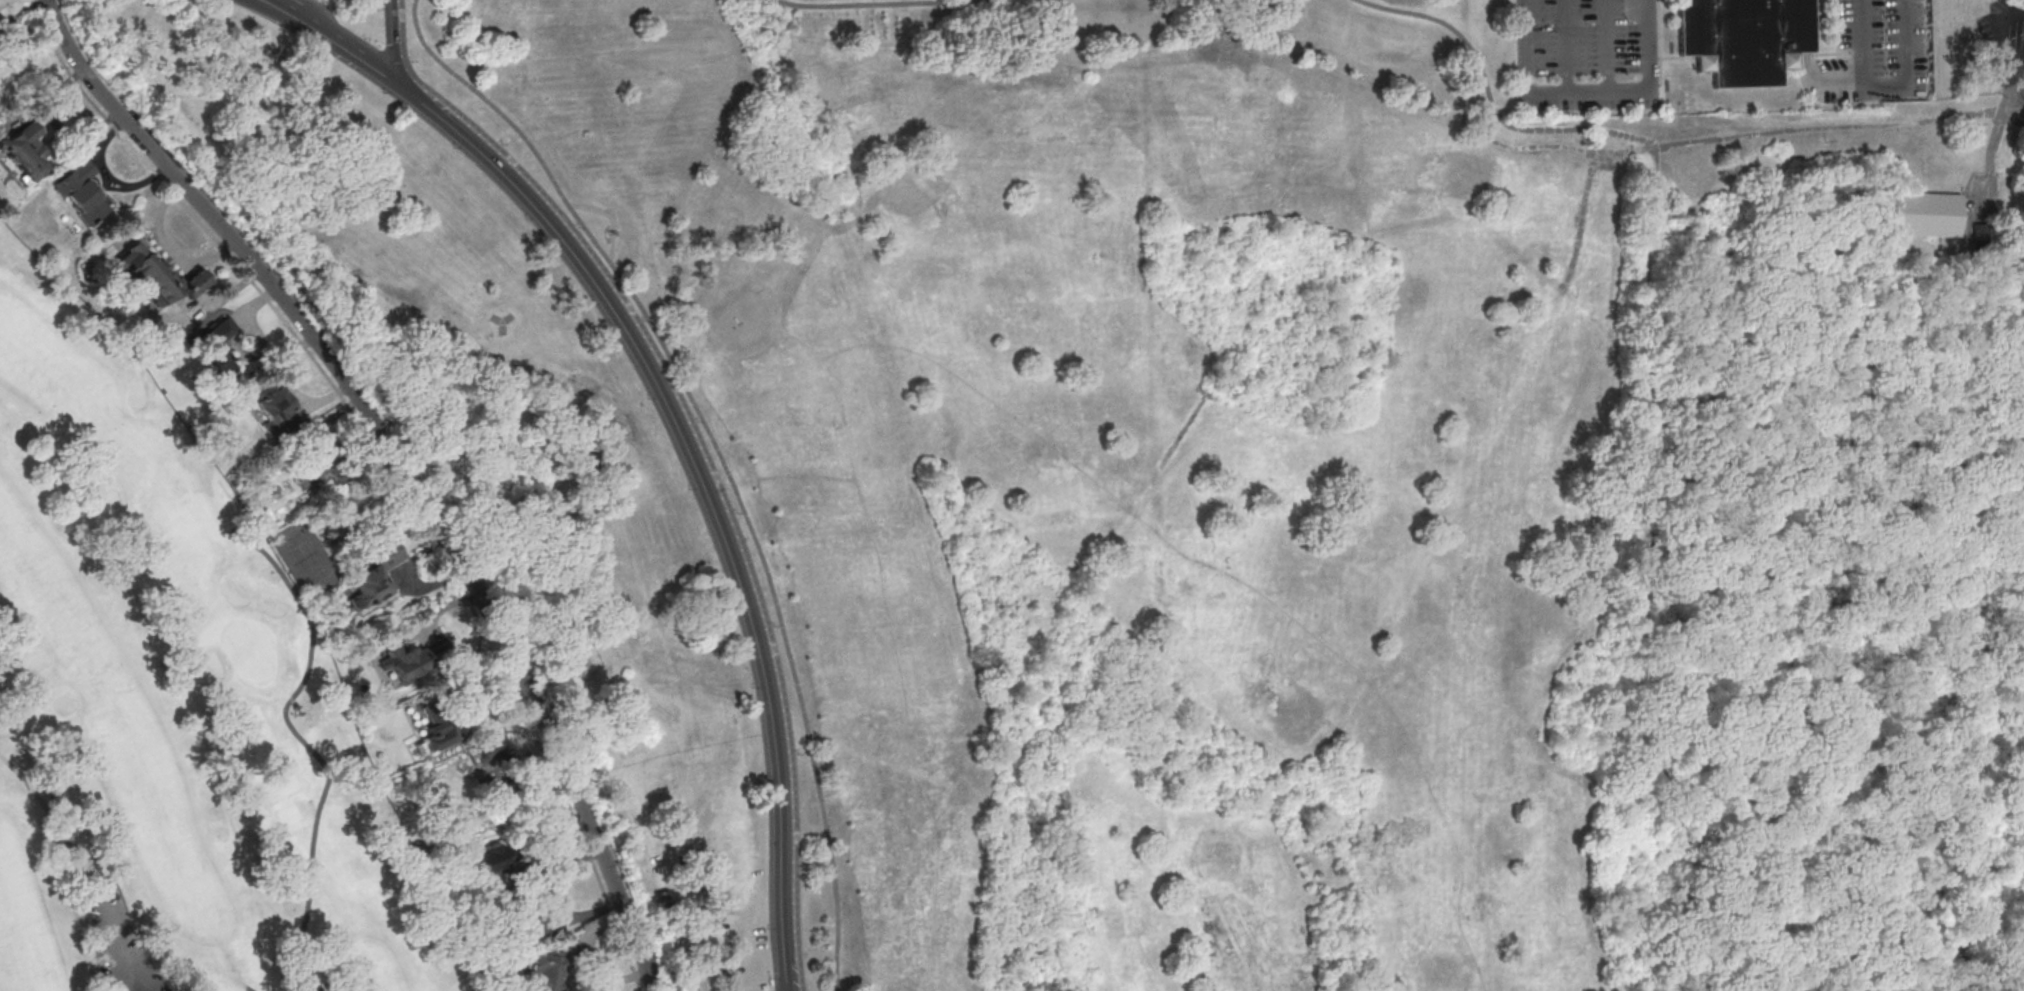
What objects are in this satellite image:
road: (381, 4)
road: (875, 5)
road: (287, 18)
road: (302, 18)
road: (1836, 27)
road: (1999, 30)
building: (1743, 37)
parking lot: (2004, 40)
road: (392, 41)
road: (1864, 43)
road: (1608, 46)
road: (1566, 47)
road: (1659, 51)
parking lot: (1587, 53)
parking lot: (1874, 54)
road: (1831, 55)
road: (1677, 58)
road: (362, 59)
road: (2017, 63)
road: (1887, 85)
road: (1589, 93)
road: (2014, 116)
road: (1747, 137)
road: (145, 142)
road: (1991, 145)
building: (26, 152)
building: (1616, 162)
building: (82, 192)
building: (1923, 213)
road: (2013, 216)
road: (609, 217)
road: (1581, 223)
building: (1978, 236)
building: (159, 274)
building: (219, 347)
road: (1199, 389)
road: (1652, 389)
road: (1207, 393)
road: (1215, 398)
building: (279, 410)
road: (701, 448)
road: (707, 448)
road: (718, 452)
building: (318, 458)
road: (385, 463)
park: (1204, 463)
road: (705, 486)
road: (1963, 493)
park: (1235, 494)
building: (377, 573)
road: (488, 614)
park: (252, 648)
building: (413, 659)
park: (174, 707)
building: (438, 732)
building: (490, 857)
road: (109, 925)
parking lot: (116, 942)
park: (2017, 951)
building: (548, 972)
road: (134, 975)
road: (119, 976)

